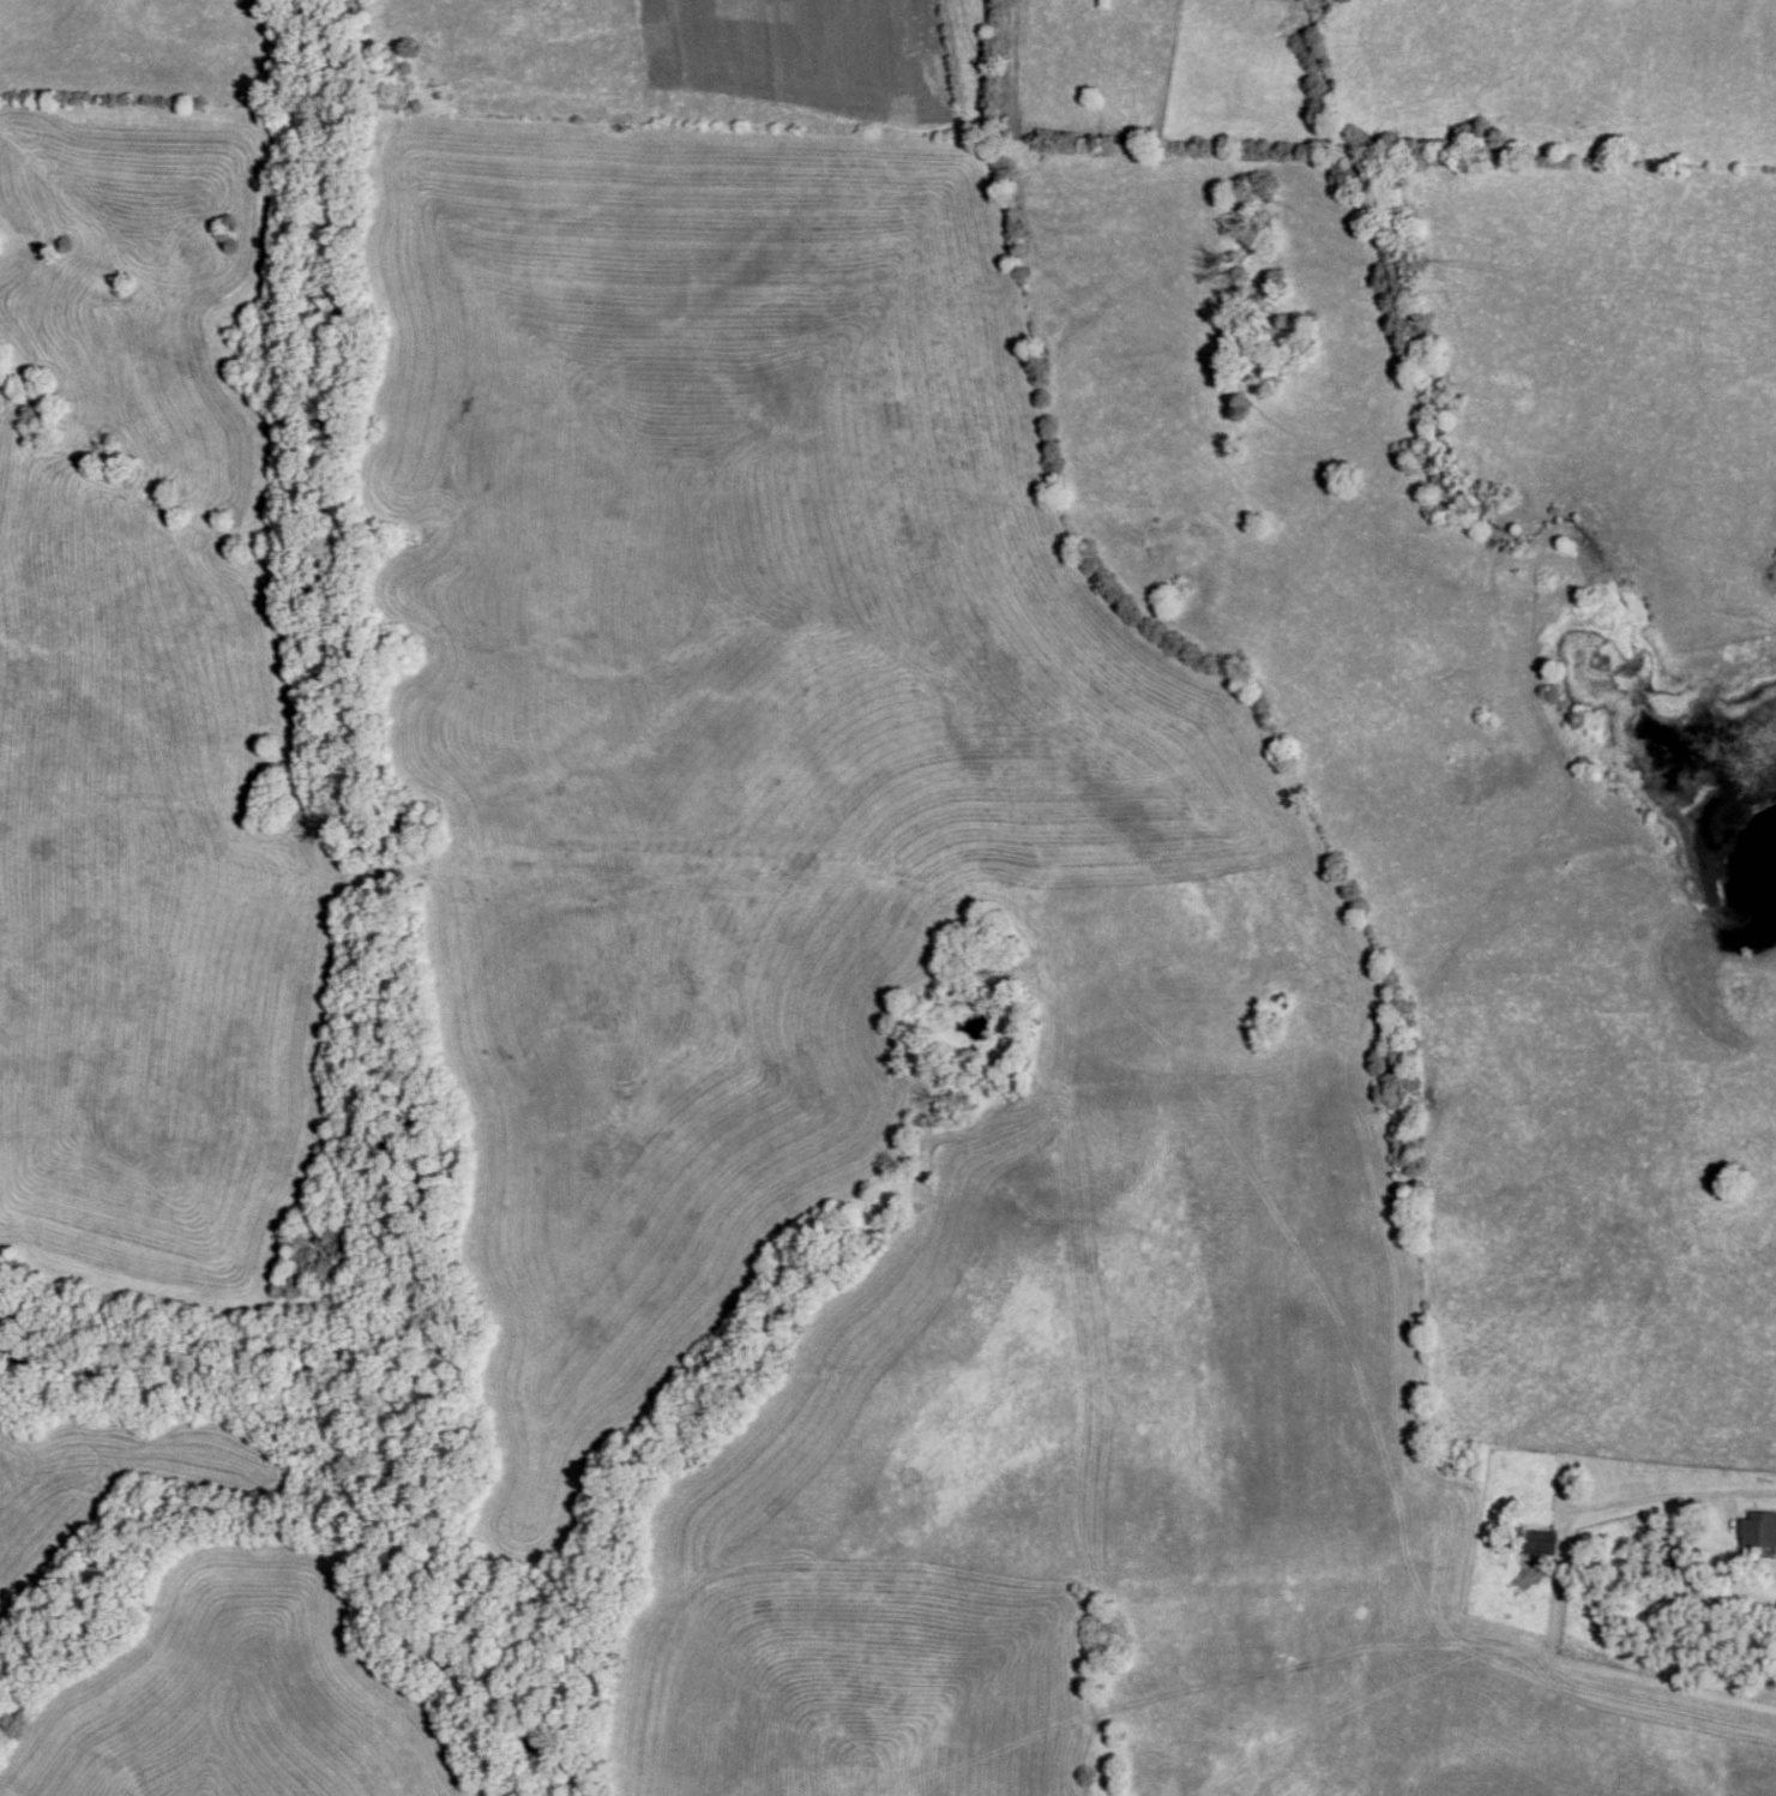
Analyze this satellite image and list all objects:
road: (1674, 1497)
building: (1758, 1530)
building: (1539, 1543)

